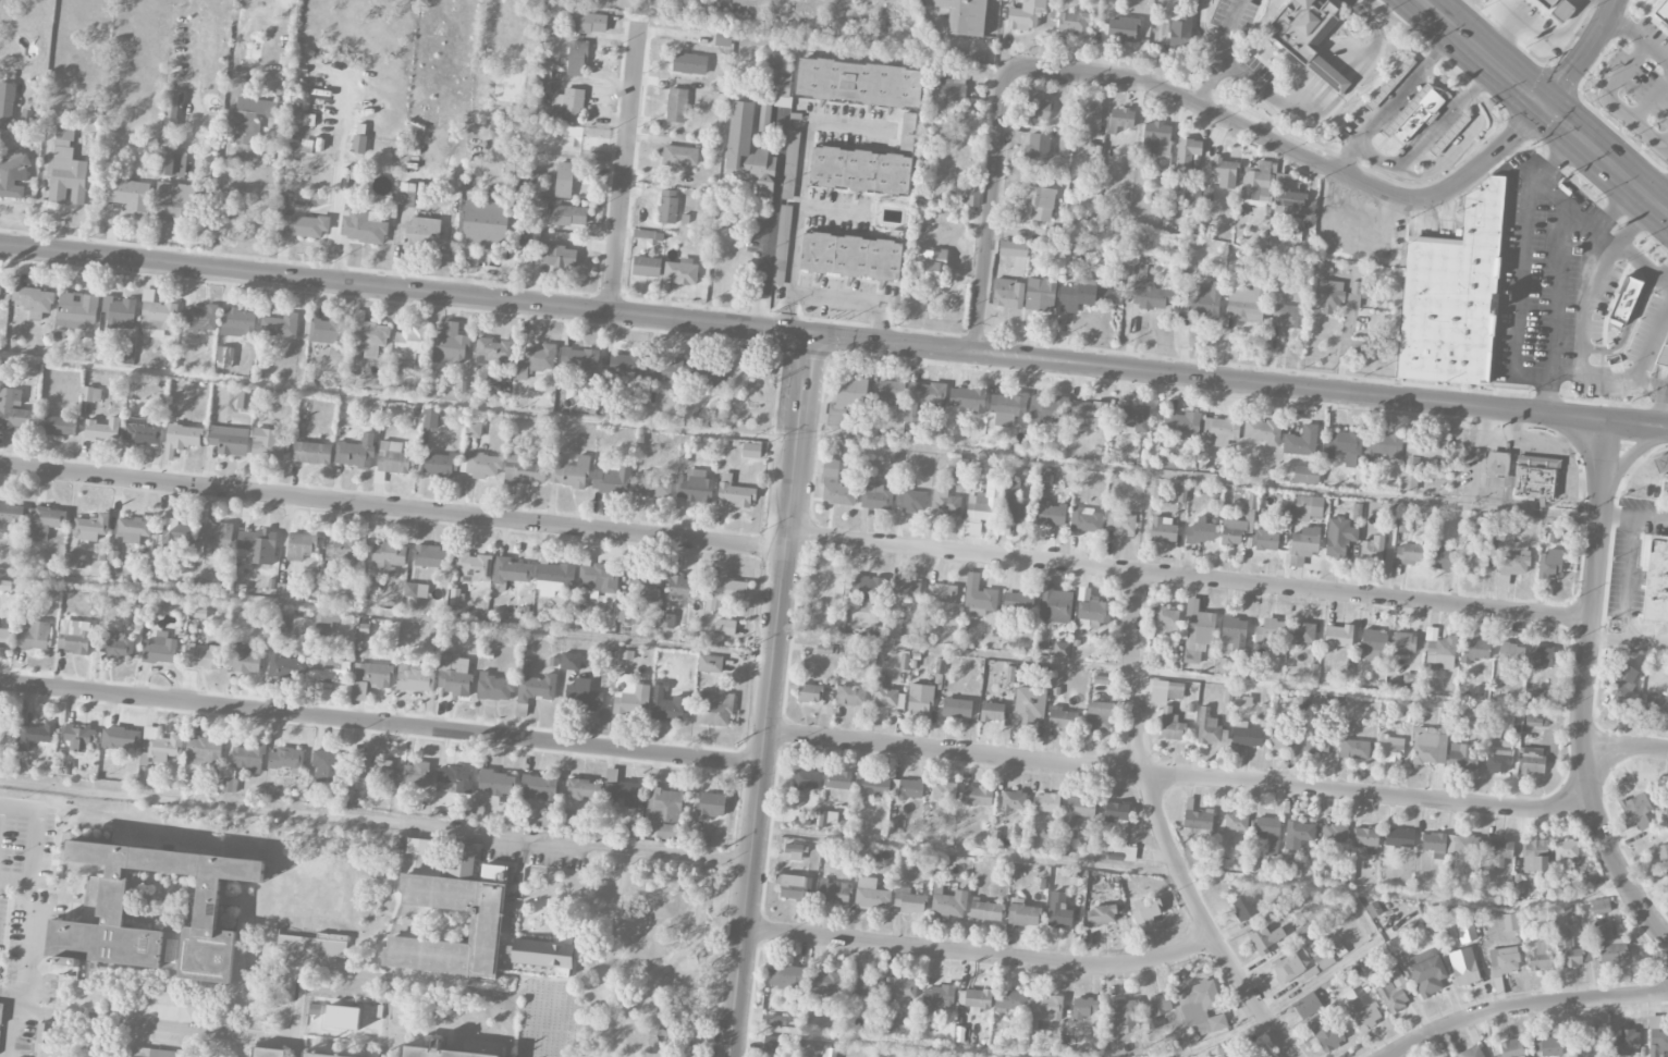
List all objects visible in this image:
building: (1547, 3)
building: (1661, 10)
building: (1561, 11)
building: (964, 15)
building: (1026, 15)
building: (589, 23)
building: (1072, 23)
building: (1121, 28)
building: (1180, 32)
building: (1308, 36)
road: (1639, 37)
building: (723, 38)
road: (1218, 52)
road: (1585, 56)
building: (577, 58)
building: (773, 61)
building: (689, 63)
building: (544, 69)
road: (1407, 82)
road: (1480, 82)
building: (859, 83)
building: (1390, 83)
building: (952, 85)
building: (544, 87)
building: (782, 89)
road: (1610, 101)
road: (1651, 101)
building: (172, 105)
building: (676, 105)
building: (7, 106)
building: (566, 106)
road: (1545, 106)
building: (1041, 110)
building: (1090, 114)
building: (1414, 114)
building: (764, 115)
building: (302, 118)
building: (1120, 119)
road: (1308, 121)
building: (249, 125)
road: (1432, 132)
building: (1449, 135)
building: (1156, 138)
building: (359, 144)
building: (1038, 146)
building: (1064, 147)
road: (1290, 150)
road: (1452, 150)
building: (1187, 151)
building: (748, 152)
road: (1348, 155)
road: (1375, 155)
building: (679, 156)
building: (792, 157)
building: (172, 164)
building: (66, 168)
road: (624, 168)
building: (514, 171)
building: (860, 171)
building: (1225, 172)
building: (13, 173)
building: (564, 180)
building: (1256, 184)
road: (340, 186)
road: (800, 186)
building: (131, 195)
building: (407, 195)
building: (1287, 195)
building: (972, 197)
building: (1191, 197)
building: (1038, 201)
road: (1569, 201)
road: (1664, 201)
building: (173, 204)
building: (667, 207)
road: (831, 207)
road: (991, 208)
building: (569, 216)
road: (1628, 219)
road: (773, 220)
building: (486, 224)
building: (302, 225)
building: (364, 225)
building: (421, 232)
building: (648, 234)
building: (1053, 235)
building: (1013, 248)
building: (781, 250)
building: (557, 256)
building: (851, 256)
road: (1524, 261)
road: (1639, 262)
building: (931, 265)
building: (646, 267)
building: (680, 271)
building: (0, 287)
road: (1556, 287)
road: (404, 288)
building: (1150, 292)
building: (1008, 293)
building: (1354, 293)
building: (1040, 294)
building: (1329, 294)
building: (1082, 295)
building: (1452, 296)
road: (853, 298)
road: (1587, 298)
building: (1203, 299)
building: (33, 300)
building: (1623, 300)
building: (1243, 305)
building: (77, 310)
building: (119, 311)
building: (156, 316)
building: (1288, 316)
building: (199, 318)
building: (237, 322)
building: (280, 325)
building: (328, 330)
traffic signals: (810, 332)
road: (1653, 332)
building: (369, 334)
building: (407, 344)
building: (450, 345)
building: (494, 349)
building: (1663, 354)
building: (224, 357)
building: (535, 360)
building: (624, 366)
building: (580, 368)
building: (664, 368)
road: (1594, 374)
building: (712, 377)
road: (1211, 377)
building: (892, 392)
road: (1667, 392)
road: (1547, 393)
building: (91, 394)
building: (967, 398)
building: (244, 400)
building: (846, 401)
building: (921, 402)
building: (1009, 404)
building: (1046, 409)
building: (14, 411)
building: (1089, 414)
building: (1131, 417)
building: (430, 418)
road: (1641, 423)
building: (57, 425)
building: (1181, 425)
building: (102, 429)
building: (474, 429)
building: (1221, 430)
building: (140, 431)
building: (1263, 431)
building: (182, 439)
building: (229, 440)
building: (1301, 441)
building: (269, 442)
road: (801, 443)
building: (1383, 445)
building: (1346, 446)
building: (1428, 447)
building: (751, 450)
building: (355, 452)
building: (311, 453)
building: (394, 458)
building: (1169, 462)
building: (1660, 462)
building: (1496, 464)
building: (439, 465)
building: (480, 465)
building: (959, 468)
building: (523, 470)
road: (1149, 470)
building: (569, 472)
building: (1307, 474)
building: (1535, 476)
building: (612, 479)
building: (1043, 479)
building: (651, 486)
building: (836, 486)
building: (695, 487)
building: (1664, 489)
building: (734, 493)
building: (876, 496)
building: (911, 501)
building: (945, 502)
building: (1013, 503)
road: (392, 507)
building: (1308, 507)
building: (980, 508)
building: (11, 513)
building: (1050, 513)
road: (1635, 516)
building: (1086, 519)
building: (44, 521)
building: (1120, 523)
building: (1403, 524)
building: (90, 527)
building: (133, 529)
building: (1163, 529)
building: (1200, 531)
building: (1232, 531)
building: (1557, 536)
building: (177, 537)
building: (1339, 537)
building: (216, 538)
building: (1266, 540)
building: (1303, 545)
building: (256, 546)
building: (301, 546)
building: (1372, 549)
building: (342, 551)
building: (1408, 553)
building: (388, 556)
building: (113, 557)
building: (1443, 558)
building: (74, 560)
building: (1514, 563)
building: (1475, 564)
building: (1549, 564)
building: (473, 566)
building: (512, 570)
building: (157, 575)
road: (1189, 576)
building: (598, 577)
building: (554, 578)
road: (1630, 580)
building: (1656, 581)
building: (643, 583)
building: (5, 585)
building: (682, 586)
building: (283, 590)
building: (416, 590)
building: (868, 590)
building: (905, 590)
building: (725, 592)
building: (942, 593)
building: (831, 594)
building: (456, 597)
building: (979, 597)
building: (1018, 601)
building: (1055, 604)
road: (387, 612)
building: (1093, 612)
building: (628, 616)
building: (667, 620)
building: (1166, 620)
building: (326, 622)
building: (1199, 624)
building: (725, 627)
building: (1271, 629)
building: (1234, 631)
building: (1302, 632)
building: (33, 636)
building: (4, 637)
building: (1337, 637)
building: (74, 641)
building: (1403, 642)
building: (1374, 644)
building: (116, 646)
road: (1629, 646)
building: (160, 649)
building: (1062, 650)
building: (1476, 650)
building: (1510, 653)
building: (201, 656)
building: (1541, 656)
building: (243, 657)
building: (571, 661)
building: (710, 663)
building: (281, 665)
building: (1224, 665)
building: (330, 669)
building: (373, 674)
road: (1179, 674)
building: (454, 675)
building: (415, 677)
building: (1411, 681)
building: (1623, 681)
building: (493, 687)
building: (537, 688)
road: (1585, 688)
building: (1167, 690)
building: (358, 691)
road: (769, 693)
building: (809, 693)
building: (584, 695)
building: (850, 696)
building: (885, 696)
building: (630, 697)
building: (920, 698)
building: (1656, 703)
building: (667, 704)
building: (957, 708)
building: (714, 709)
building: (992, 711)
building: (1025, 713)
building: (1405, 713)
building: (1263, 715)
building: (1099, 716)
building: (1062, 718)
building: (1533, 722)
building: (7, 723)
road: (381, 723)
building: (1170, 726)
building: (1210, 728)
building: (35, 735)
building: (1246, 735)
building: (79, 736)
building: (121, 738)
building: (1317, 741)
building: (1286, 743)
building: (1431, 743)
road: (1626, 747)
building: (1354, 749)
building: (1390, 749)
building: (158, 750)
building: (201, 752)
building: (1461, 757)
building: (247, 758)
building: (287, 759)
building: (1532, 760)
building: (1497, 761)
building: (328, 766)
building: (370, 771)
road: (1179, 774)
building: (412, 775)
building: (806, 778)
building: (454, 779)
building: (838, 779)
building: (230, 781)
building: (496, 783)
building: (874, 785)
building: (539, 786)
building: (907, 788)
building: (584, 789)
building: (944, 790)
building: (978, 796)
road: (198, 799)
building: (1014, 800)
building: (1047, 802)
building: (663, 804)
building: (710, 806)
building: (1081, 807)
building: (1635, 810)
building: (1116, 812)
building: (831, 816)
building: (566, 821)
building: (1236, 821)
building: (1198, 822)
building: (1667, 823)
building: (893, 825)
building: (1267, 828)
building: (666, 831)
road: (1164, 831)
building: (1299, 834)
building: (1334, 834)
building: (1399, 837)
building: (1366, 839)
road: (32, 841)
road: (574, 841)
building: (1433, 841)
building: (412, 845)
building: (1462, 845)
parking lot: (23, 846)
building: (1566, 849)
building: (794, 850)
building: (1498, 850)
building: (1663, 851)
building: (1121, 852)
building: (1535, 856)
building: (1219, 859)
road: (1214, 876)
building: (1519, 884)
building: (794, 886)
building: (832, 892)
building: (871, 895)
building: (116, 898)
building: (908, 900)
building: (948, 902)
building: (1600, 906)
building: (468, 907)
building: (1244, 907)
building: (1374, 909)
building: (985, 910)
building: (1058, 910)
building: (1145, 911)
road: (391, 912)
building: (1023, 913)
building: (1101, 915)
road: (615, 918)
building: (1572, 920)
building: (1510, 922)
building: (1465, 929)
building: (1265, 939)
building: (1395, 945)
building: (1611, 948)
road: (680, 949)
building: (1569, 950)
road: (981, 954)
building: (312, 956)
building: (1540, 957)
building: (1323, 959)
building: (1504, 960)
building: (1463, 967)
building: (1287, 968)
parking lot: (29, 969)
building: (1428, 975)
building: (786, 978)
road: (581, 981)
road: (23, 984)
building: (825, 984)
building: (900, 987)
building: (866, 991)
building: (1395, 992)
road: (176, 994)
road: (1300, 995)
building: (939, 996)
building: (978, 998)
building: (1013, 1000)
road: (627, 1005)
building: (1308, 1005)
building: (1083, 1007)
building: (1201, 1007)
road: (1521, 1007)
building: (315, 1008)
building: (1046, 1008)
building: (1157, 1009)
building: (2, 1011)
building: (1361, 1011)
park: (533, 1012)
road: (610, 1012)
building: (332, 1016)
building: (1123, 1017)
building: (775, 1019)
road: (193, 1023)
road: (176, 1027)
building: (46, 1033)
road: (609, 1033)
building: (1327, 1033)
road: (65, 1035)
building: (1657, 1037)
road: (878, 1041)
building: (1623, 1042)
road: (629, 1044)
building: (773, 1044)
building: (1586, 1044)
building: (1547, 1045)
road: (243, 1046)
building: (433, 1050)
building: (150, 1052)
building: (267, 1052)
road: (652, 1052)
building: (1218, 1052)
building: (831, 1053)
building: (1471, 1053)
building: (318, 1055)

